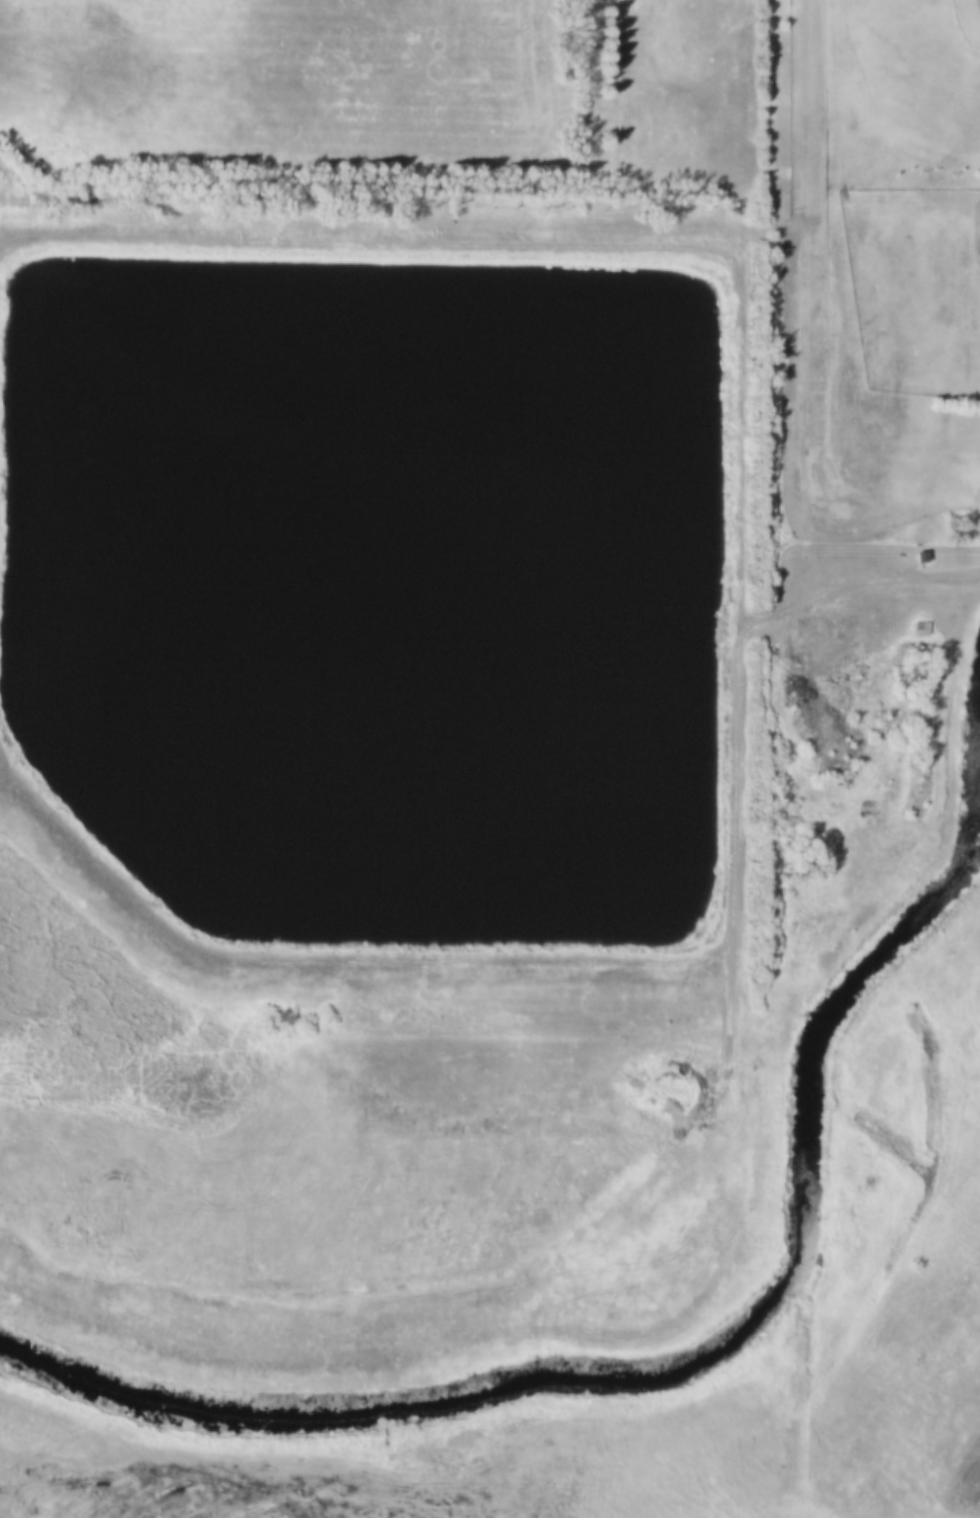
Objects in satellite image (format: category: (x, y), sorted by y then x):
park: (922, 68)
road: (807, 128)
park: (917, 289)
building: (918, 556)
road: (857, 574)
building: (919, 628)
building: (924, 631)
road: (941, 703)
quarry: (961, 1482)

